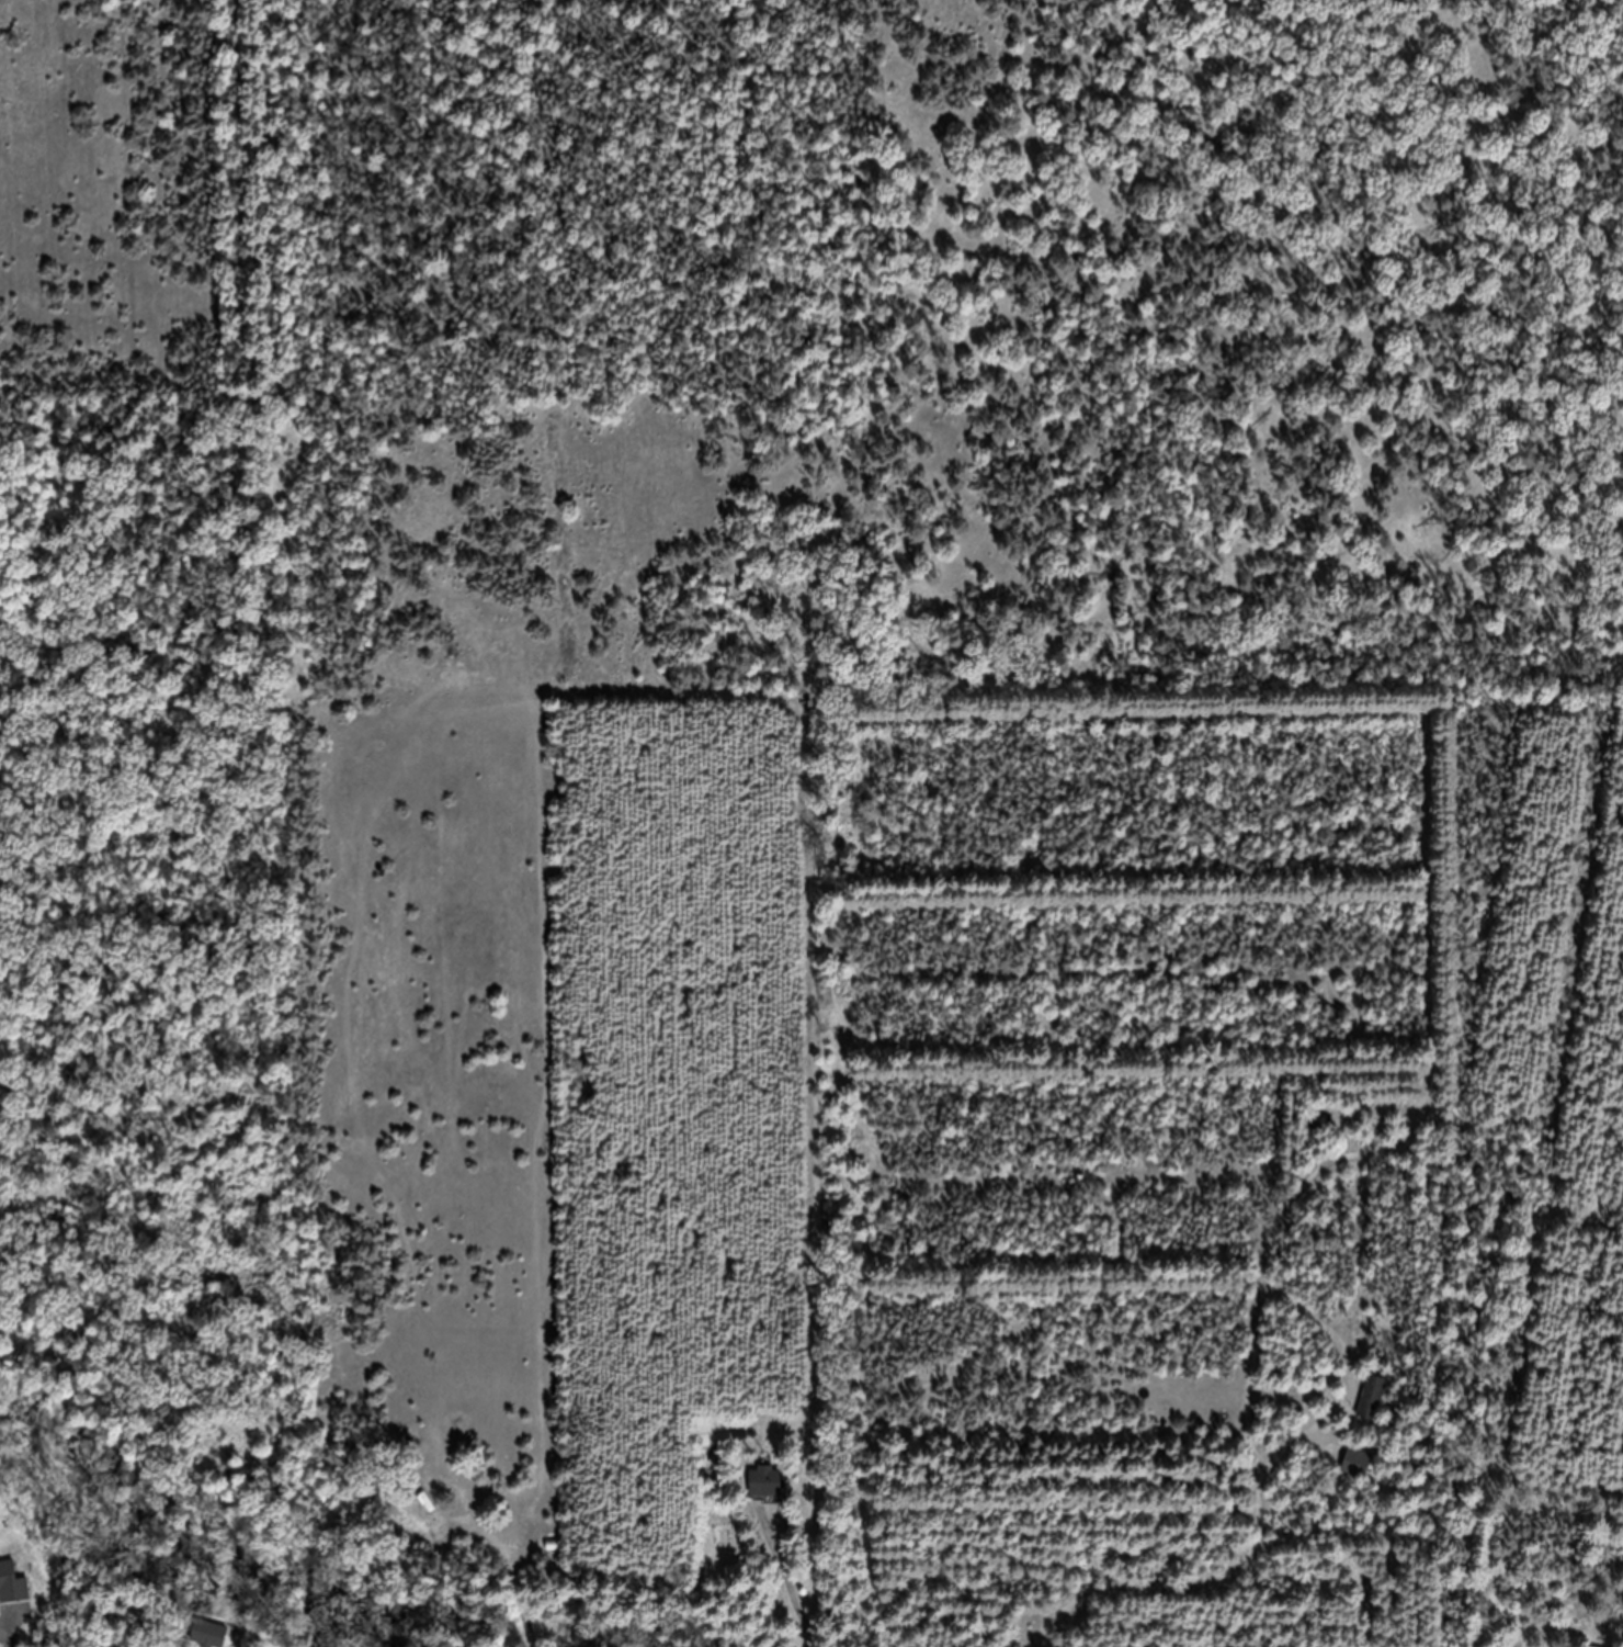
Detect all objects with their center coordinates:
building: (1373, 1410)
building: (716, 1445)
building: (767, 1494)
building: (9, 1607)
building: (207, 1640)

